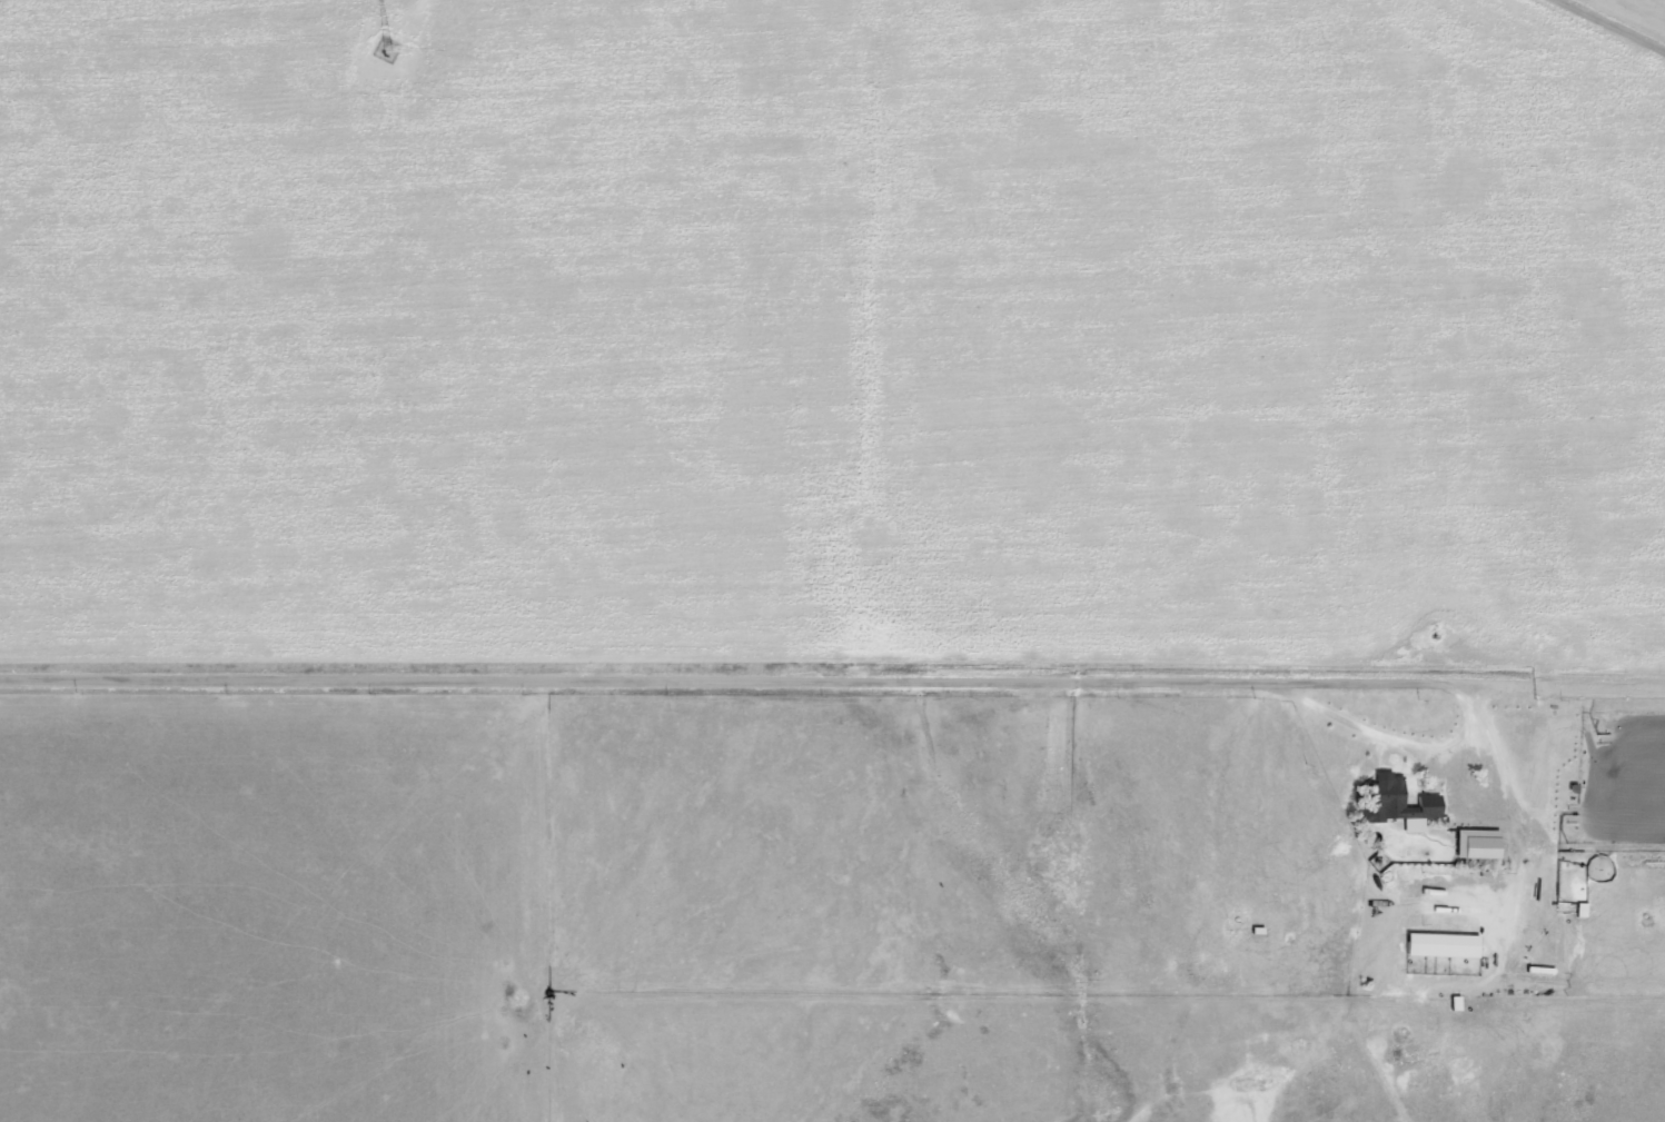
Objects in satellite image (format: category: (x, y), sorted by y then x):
road: (763, 674)
building: (1399, 803)
building: (1479, 843)
building: (1445, 945)

